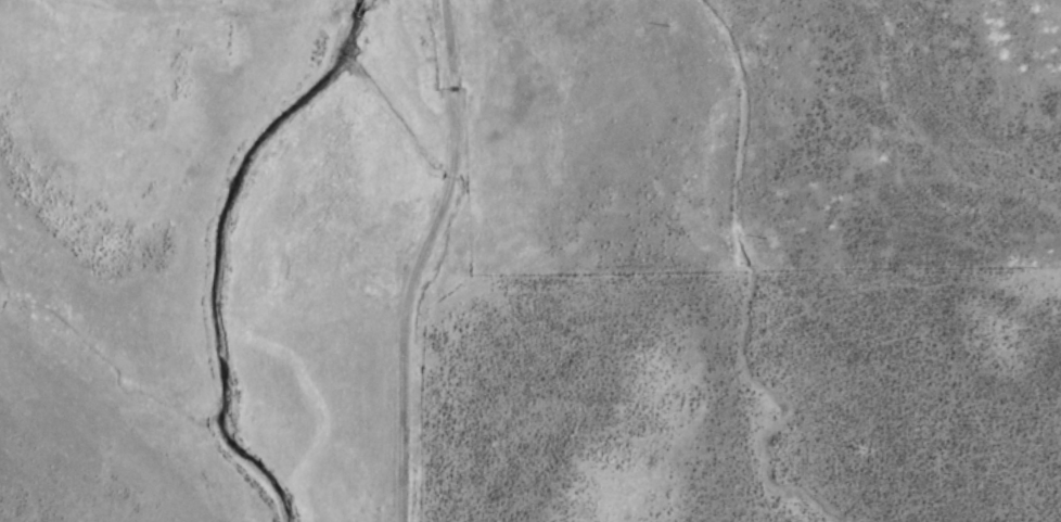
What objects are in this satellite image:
road: (448, 171)
crop: (530, 260)
road: (404, 430)

